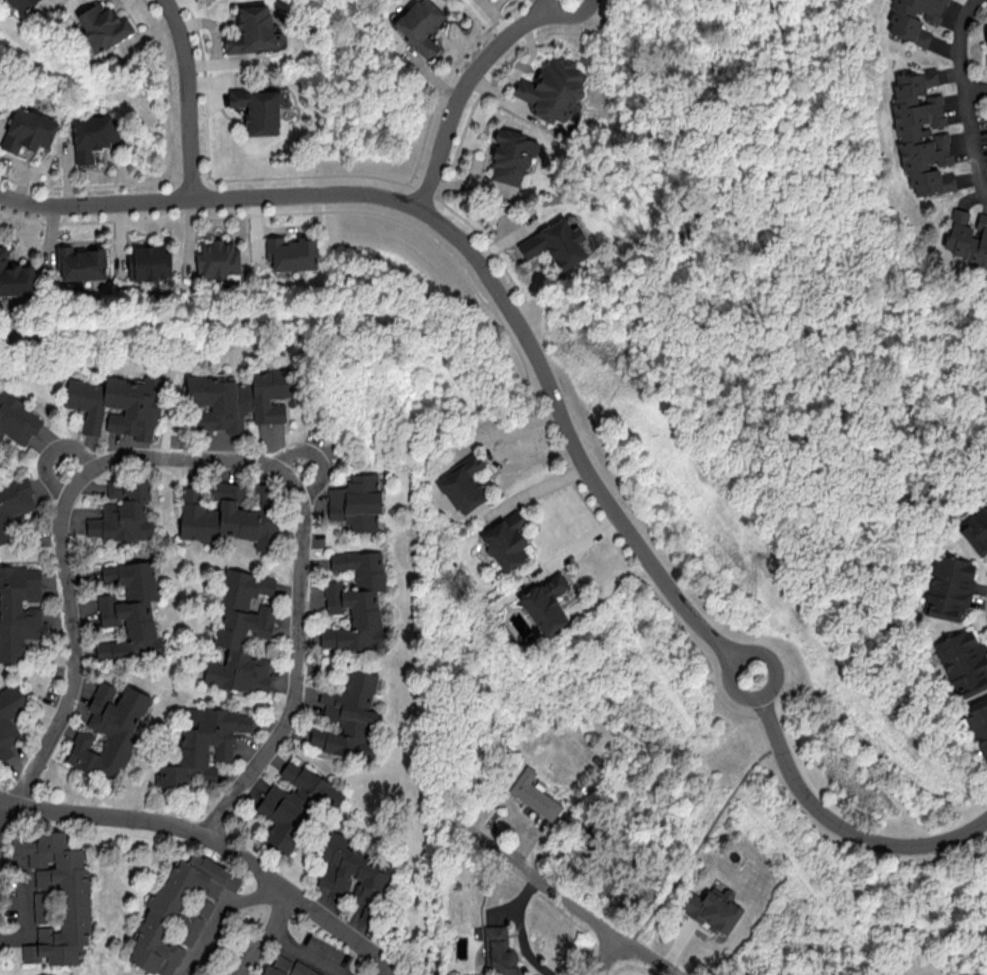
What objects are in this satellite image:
building: (21, 4)
building: (913, 19)
building: (420, 25)
building: (103, 26)
building: (254, 31)
building: (986, 41)
road: (471, 88)
building: (554, 90)
road: (965, 95)
road: (188, 97)
road: (977, 104)
building: (258, 110)
building: (28, 130)
building: (921, 132)
building: (93, 136)
building: (510, 157)
road: (209, 200)
building: (967, 237)
building: (555, 243)
road: (492, 251)
building: (291, 253)
building: (218, 259)
building: (80, 262)
building: (149, 262)
building: (15, 278)
road: (525, 369)
building: (239, 400)
building: (116, 404)
building: (17, 420)
road: (569, 436)
road: (51, 450)
road: (489, 455)
road: (316, 457)
road: (209, 460)
building: (464, 486)
building: (356, 502)
building: (14, 504)
building: (123, 512)
building: (230, 514)
building: (976, 531)
building: (506, 540)
building: (949, 588)
building: (355, 602)
building: (546, 603)
building: (19, 611)
building: (129, 612)
building: (241, 632)
road: (742, 648)
building: (963, 662)
building: (348, 717)
building: (10, 721)
building: (978, 724)
building: (109, 729)
building: (204, 742)
building: (534, 794)
building: (294, 804)
road: (2, 808)
road: (842, 827)
road: (701, 840)
road: (220, 844)
building: (353, 874)
road: (564, 897)
road: (21, 905)
building: (39, 907)
building: (74, 907)
building: (713, 909)
building: (178, 912)
road: (219, 913)
road: (519, 929)
road: (269, 933)
building: (499, 949)
road: (304, 954)
road: (609, 955)
building: (288, 967)
road: (385, 969)

